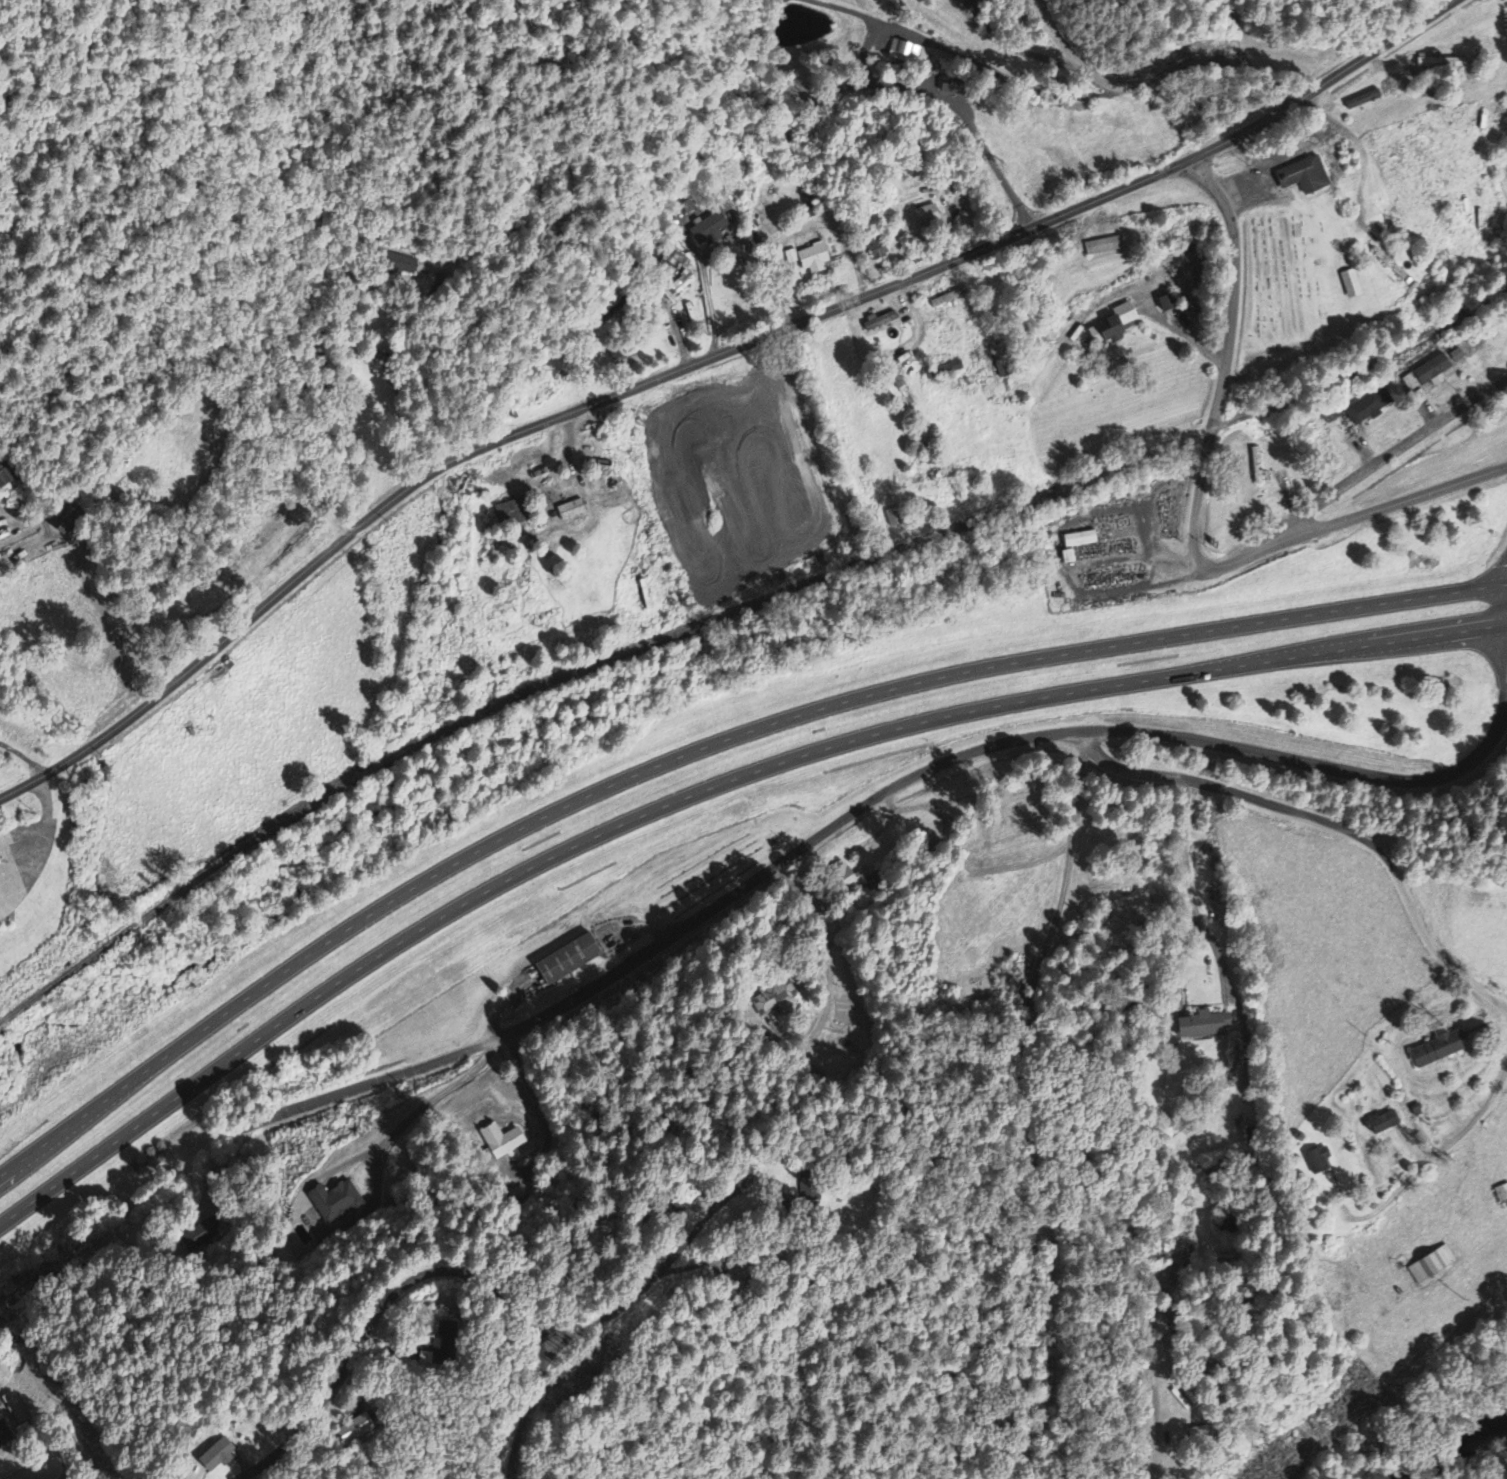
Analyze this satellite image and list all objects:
building: (902, 51)
building: (1409, 53)
road: (1194, 61)
building: (1439, 62)
building: (950, 87)
building: (1301, 175)
road: (1391, 192)
building: (927, 216)
building: (707, 230)
building: (1103, 246)
building: (875, 249)
building: (812, 258)
building: (674, 264)
building: (398, 265)
building: (683, 284)
building: (1349, 284)
building: (877, 322)
building: (1114, 326)
road: (701, 359)
road: (1227, 360)
building: (1424, 373)
building: (1366, 407)
road: (1390, 456)
building: (3, 480)
building: (570, 510)
building: (506, 514)
road: (1353, 517)
building: (1078, 540)
railway: (731, 611)
road: (701, 748)
road: (699, 792)
road: (46, 796)
road: (858, 808)
road: (1336, 824)
road: (38, 867)
building: (847, 877)
building: (565, 960)
building: (773, 998)
building: (1202, 1026)
building: (1434, 1051)
road: (1065, 1107)
building: (1382, 1123)
building: (501, 1141)
road: (1435, 1153)
building: (1317, 1161)
building: (334, 1202)
building: (1430, 1265)
road: (653, 1278)
power tower: (1465, 1297)
road: (381, 1312)
road: (528, 1416)
building: (351, 1428)
river: (1471, 1451)
building: (215, 1455)

